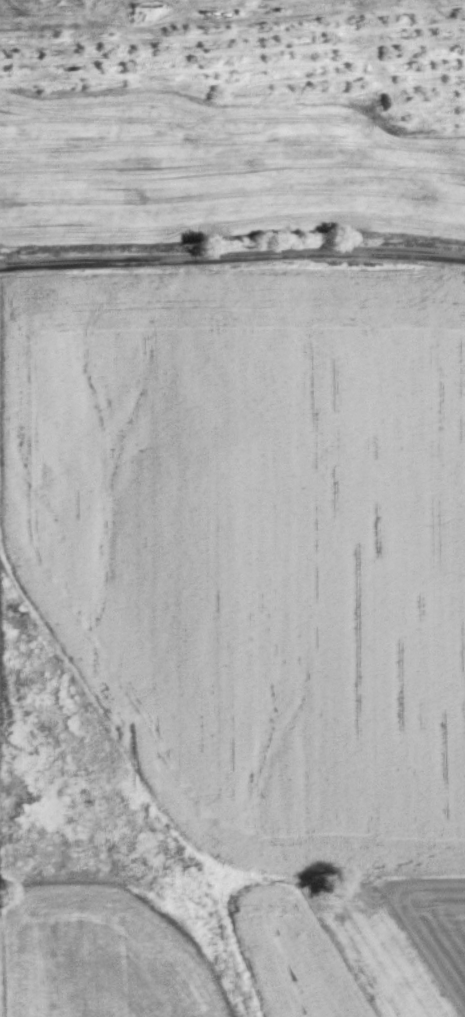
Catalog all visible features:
road: (232, 251)

